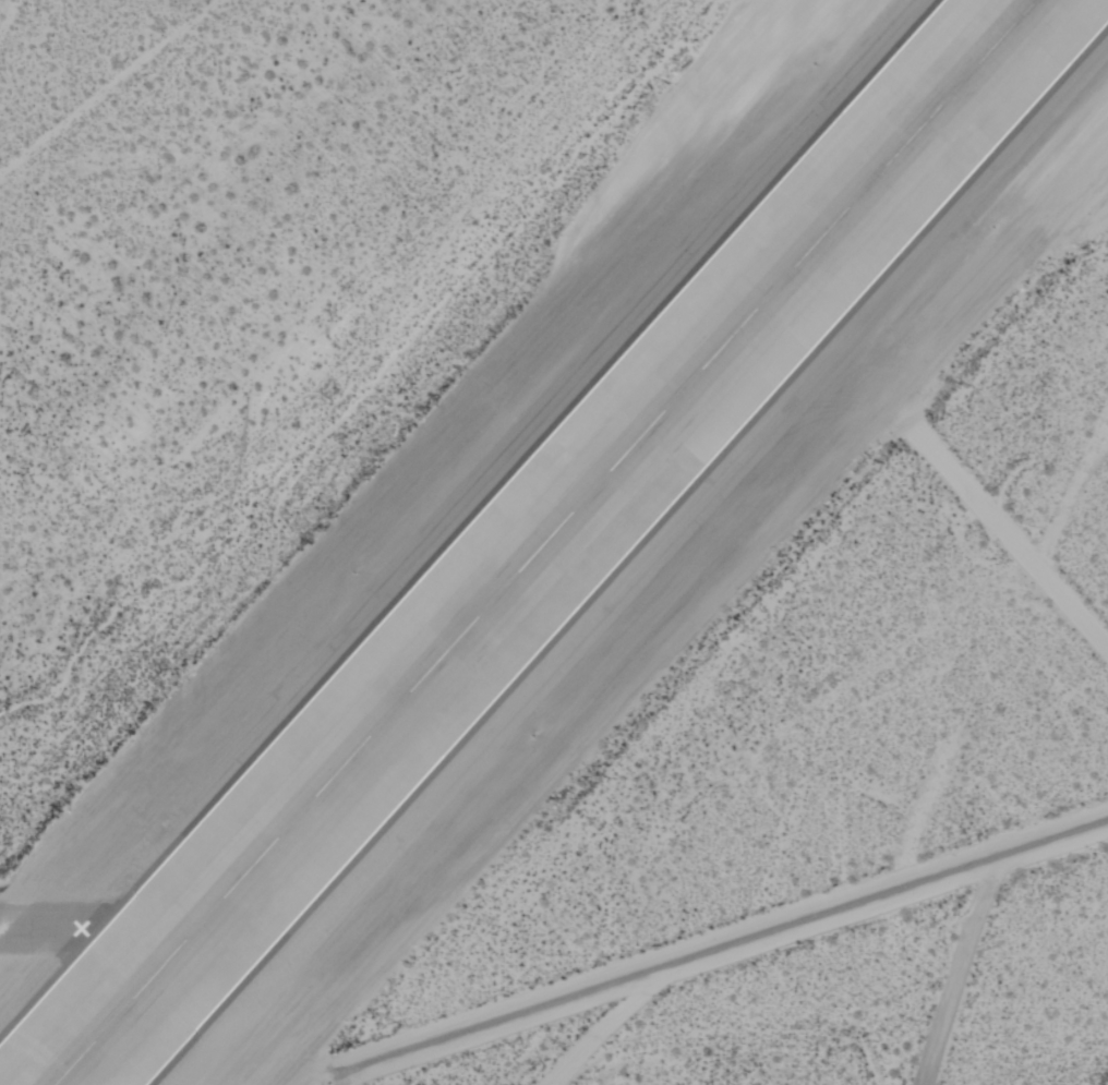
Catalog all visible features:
airport runway: (543, 542)
airport: (554, 542)
airport taxiway: (96, 928)

